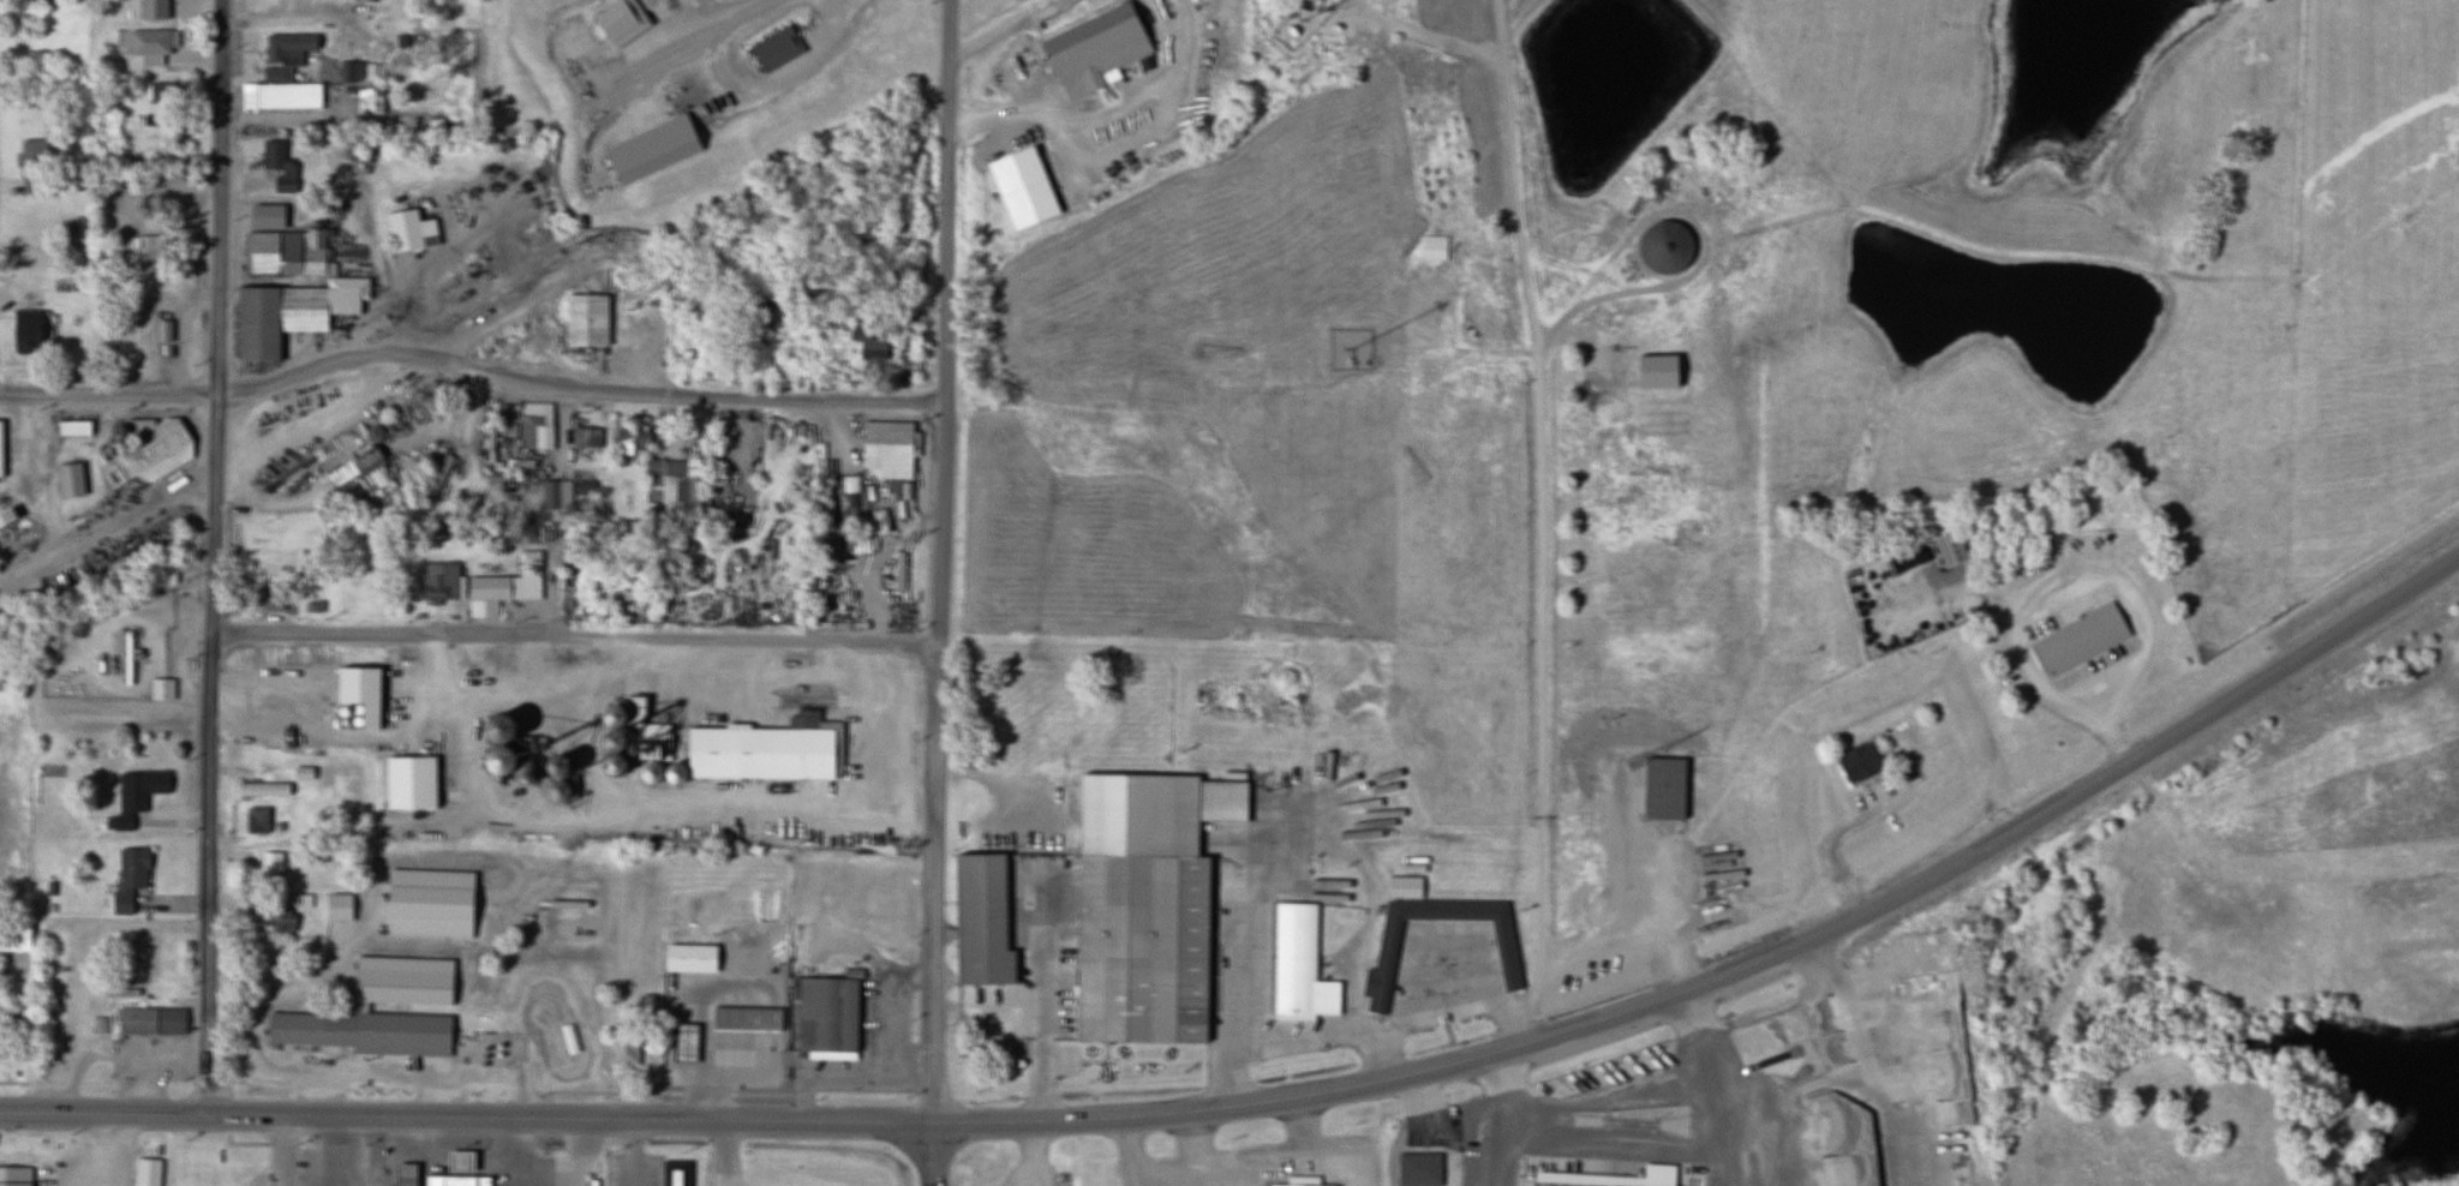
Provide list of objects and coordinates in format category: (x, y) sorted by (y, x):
building: (38, 2)
building: (150, 10)
building: (614, 19)
road: (994, 24)
building: (772, 41)
building: (151, 44)
building: (1093, 49)
building: (348, 72)
building: (285, 73)
building: (161, 102)
road: (1099, 107)
building: (651, 149)
building: (32, 164)
building: (277, 166)
road: (562, 169)
road: (219, 198)
road: (666, 205)
building: (409, 229)
building: (140, 247)
building: (1662, 247)
building: (1431, 254)
building: (585, 319)
building: (24, 331)
building: (872, 342)
road: (575, 388)
road: (108, 399)
road: (217, 418)
building: (536, 425)
building: (72, 427)
building: (586, 437)
building: (630, 441)
building: (0, 449)
building: (887, 449)
building: (142, 451)
building: (345, 471)
building: (582, 486)
building: (670, 489)
building: (556, 495)
road: (121, 515)
building: (6, 516)
road: (1539, 519)
building: (1948, 549)
road: (940, 562)
building: (898, 570)
building: (441, 581)
building: (508, 582)
building: (265, 598)
building: (330, 598)
road: (576, 637)
building: (2078, 639)
building: (160, 689)
building: (645, 732)
building: (762, 750)
building: (1857, 762)
road: (213, 775)
building: (408, 783)
building: (1662, 789)
building: (263, 790)
building: (134, 795)
building: (256, 820)
road: (1970, 858)
building: (270, 865)
building: (128, 879)
building: (1139, 911)
building: (276, 920)
building: (980, 921)
building: (13, 939)
building: (1503, 945)
building: (688, 958)
building: (1298, 965)
building: (408, 975)
building: (746, 1019)
building: (838, 1019)
building: (149, 1022)
building: (683, 1043)
building: (623, 1050)
road: (722, 1122)
road: (292, 1151)
road: (932, 1155)
building: (459, 1162)
building: (1418, 1169)
building: (145, 1172)
building: (403, 1174)
building: (686, 1174)
building: (13, 1176)
building: (1611, 1178)
building: (455, 1180)
building: (1272, 1185)
building: (1310, 1185)

